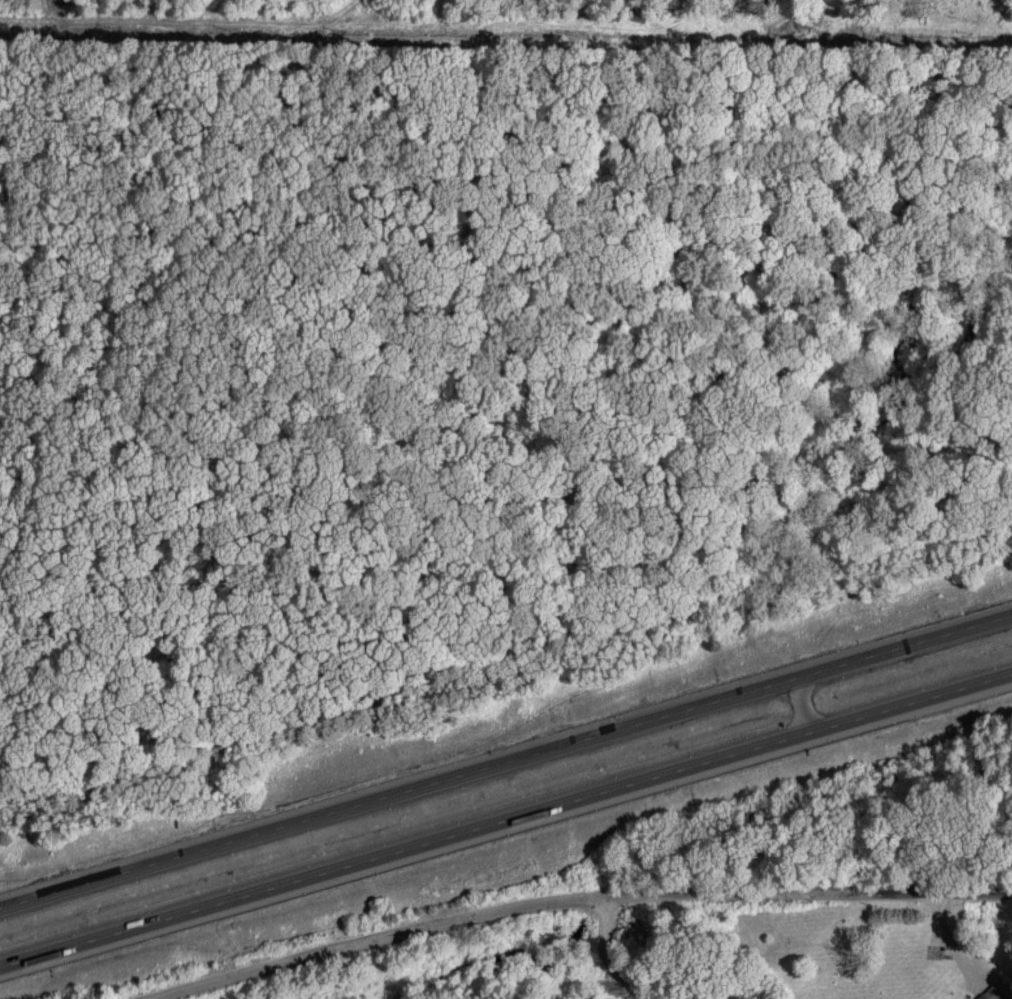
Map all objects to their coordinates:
road: (949, 636)
road: (840, 667)
road: (956, 691)
road: (734, 697)
road: (801, 707)
road: (855, 720)
road: (756, 748)
road: (337, 810)
road: (351, 865)
road: (748, 887)
road: (327, 956)
road: (611, 957)
building: (991, 992)

